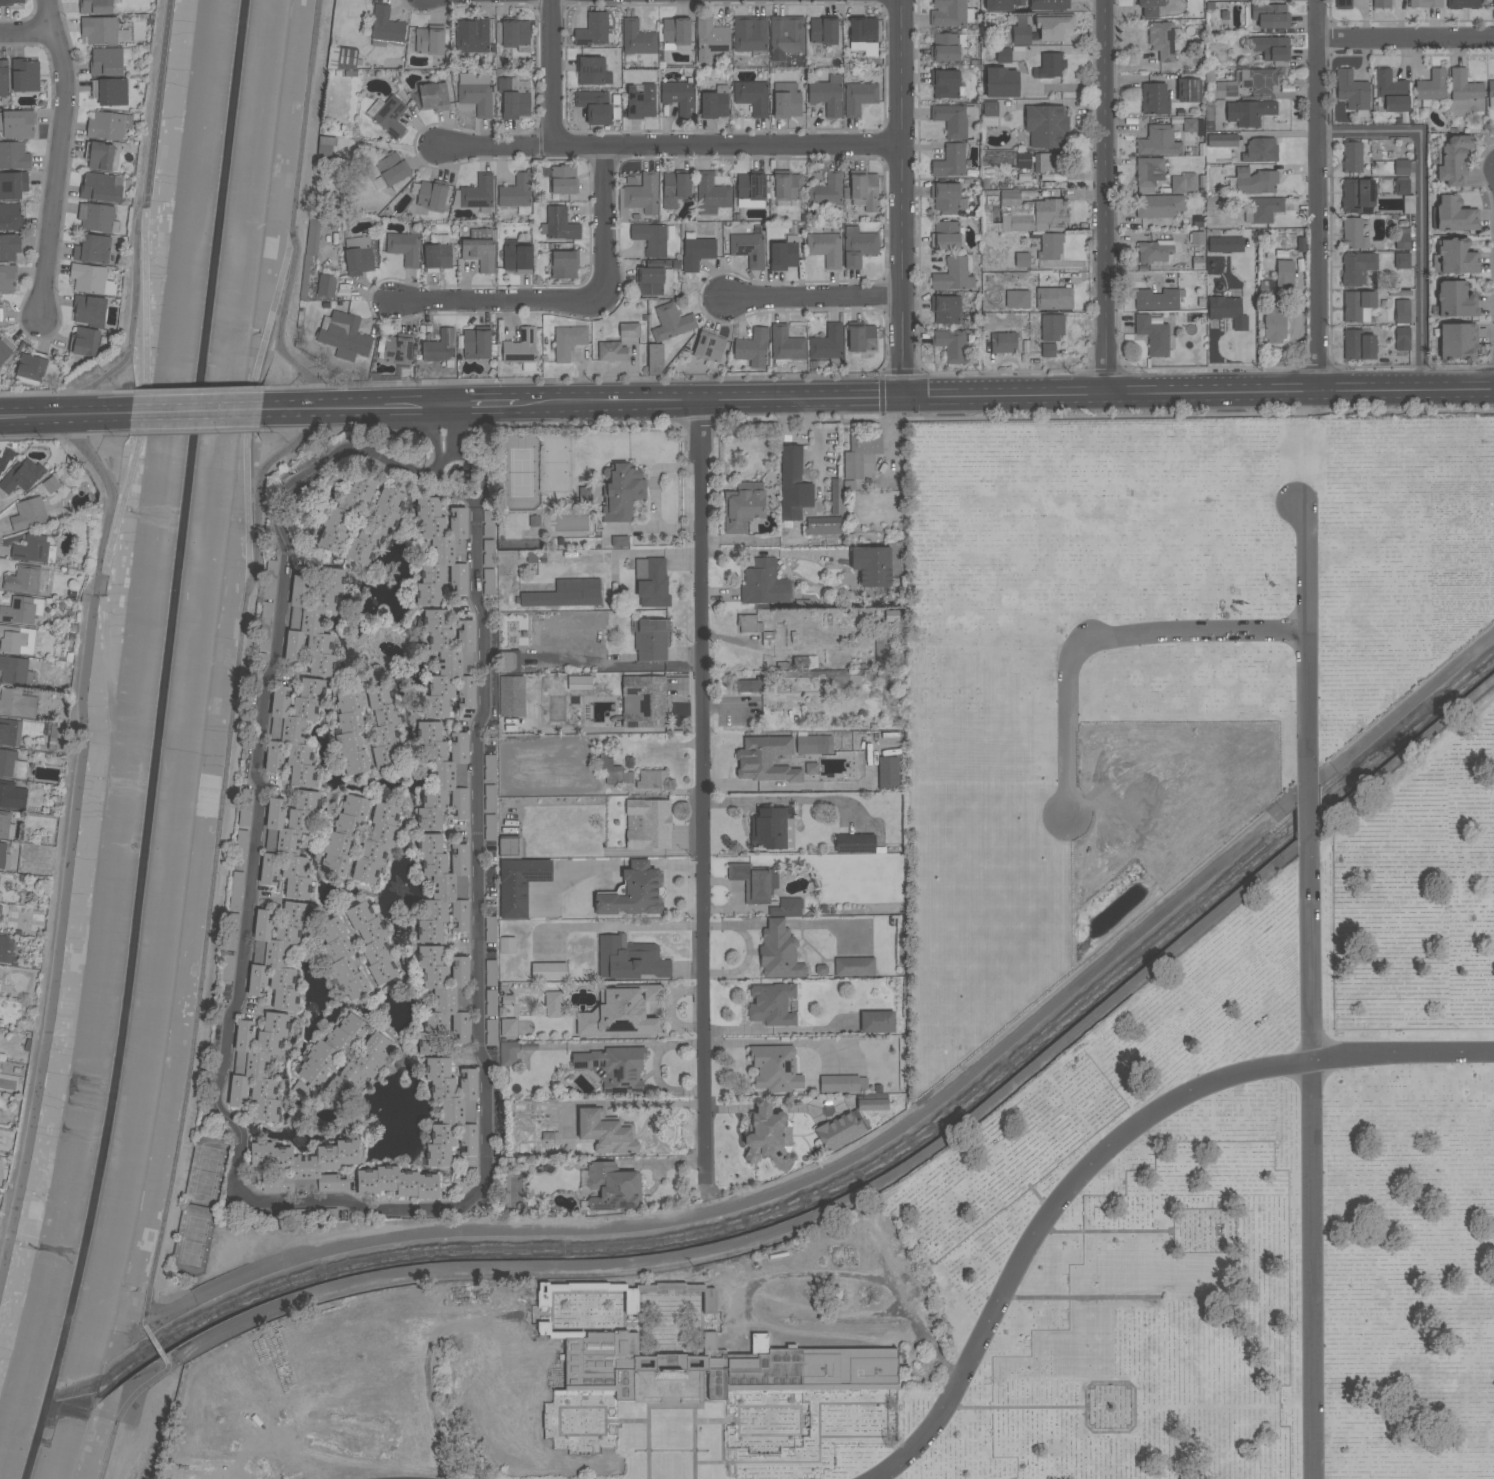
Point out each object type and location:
building: (9, 2)
building: (1425, 3)
building: (1493, 3)
building: (1342, 4)
building: (1381, 4)
building: (1462, 4)
building: (998, 5)
building: (1049, 5)
building: (96, 6)
building: (1149, 7)
building: (948, 13)
building: (1270, 16)
building: (386, 27)
building: (1053, 27)
road: (25, 29)
building: (102, 30)
building: (593, 30)
building: (676, 31)
building: (823, 31)
building: (513, 33)
building: (749, 34)
building: (472, 35)
building: (863, 35)
building: (1021, 35)
building: (786, 37)
building: (637, 38)
road: (1407, 38)
building: (710, 39)
building: (429, 40)
building: (1161, 41)
building: (944, 47)
building: (1271, 49)
building: (343, 60)
building: (109, 61)
building: (1049, 66)
building: (592, 71)
road: (555, 73)
building: (25, 75)
building: (4, 78)
building: (1259, 81)
building: (1002, 82)
building: (944, 84)
building: (1431, 87)
building: (1351, 90)
building: (110, 91)
building: (1189, 91)
building: (1391, 91)
building: (1464, 94)
building: (430, 95)
building: (827, 95)
building: (678, 96)
building: (476, 97)
building: (513, 97)
building: (752, 97)
building: (859, 98)
building: (1155, 98)
building: (786, 100)
building: (640, 101)
building: (715, 103)
building: (594, 106)
building: (1249, 112)
building: (388, 115)
building: (951, 120)
building: (17, 124)
building: (108, 125)
building: (1046, 126)
building: (1222, 140)
building: (1158, 142)
building: (325, 147)
road: (670, 147)
building: (1260, 150)
building: (99, 155)
building: (14, 156)
road: (60, 157)
building: (1351, 157)
building: (1454, 159)
building: (1021, 160)
building: (950, 161)
building: (1046, 162)
building: (1401, 167)
building: (392, 170)
building: (1149, 174)
building: (563, 179)
building: (1251, 182)
building: (1182, 183)
building: (13, 185)
building: (787, 185)
building: (1401, 186)
building: (102, 187)
building: (750, 187)
building: (675, 189)
building: (826, 191)
building: (516, 192)
building: (864, 192)
building: (431, 194)
building: (476, 194)
building: (643, 194)
building: (711, 194)
road: (1318, 194)
building: (1357, 196)
road: (1107, 197)
road: (902, 198)
building: (945, 198)
building: (1158, 206)
building: (1263, 210)
road: (1419, 210)
road: (291, 213)
building: (1021, 213)
building: (1453, 215)
road: (138, 216)
building: (10, 217)
building: (97, 217)
road: (603, 222)
building: (560, 224)
building: (1353, 234)
building: (945, 236)
building: (652, 238)
building: (1402, 239)
building: (1225, 245)
building: (9, 246)
building: (405, 246)
building: (858, 246)
building: (1050, 246)
building: (93, 249)
building: (748, 249)
building: (825, 249)
building: (310, 250)
building: (480, 250)
building: (1154, 251)
building: (697, 253)
building: (784, 254)
building: (437, 255)
building: (358, 256)
building: (516, 256)
building: (1456, 257)
building: (1401, 261)
building: (563, 265)
building: (1356, 268)
building: (1284, 274)
building: (953, 275)
building: (7, 278)
building: (92, 279)
building: (649, 281)
building: (327, 286)
road: (816, 297)
building: (1053, 298)
road: (499, 299)
building: (1156, 299)
building: (1020, 300)
building: (1455, 300)
building: (1357, 306)
building: (90, 309)
building: (945, 310)
building: (1227, 311)
building: (1402, 311)
building: (1, 313)
building: (670, 322)
building: (1274, 323)
building: (629, 330)
building: (1050, 334)
building: (1154, 335)
building: (344, 336)
building: (861, 338)
building: (1402, 339)
building: (1457, 340)
building: (84, 341)
building: (568, 341)
building: (827, 343)
building: (1003, 343)
building: (478, 344)
building: (785, 344)
building: (951, 345)
building: (1357, 345)
building: (440, 346)
building: (709, 347)
building: (752, 348)
building: (6, 349)
building: (396, 349)
building: (521, 349)
building: (612, 352)
building: (654, 359)
building: (31, 368)
road: (143, 392)
road: (1008, 394)
traffic signals: (906, 396)
road: (250, 403)
road: (491, 405)
road: (360, 408)
road: (195, 412)
road: (64, 414)
road: (449, 431)
road: (437, 433)
building: (860, 455)
building: (5, 457)
road: (477, 466)
road: (433, 469)
building: (22, 476)
building: (51, 484)
building: (790, 484)
building: (621, 492)
building: (835, 497)
building: (743, 506)
building: (346, 511)
building: (30, 513)
building: (534, 521)
building: (488, 523)
building: (823, 525)
building: (376, 526)
building: (619, 541)
building: (35, 549)
building: (442, 551)
building: (488, 552)
building: (872, 565)
building: (27, 580)
building: (270, 580)
building: (651, 582)
building: (763, 582)
building: (489, 583)
building: (565, 594)
building: (22, 610)
building: (267, 614)
building: (313, 620)
building: (748, 624)
road: (1101, 637)
building: (17, 639)
building: (264, 640)
building: (650, 640)
road: (1309, 648)
building: (509, 660)
building: (450, 663)
building: (15, 671)
building: (373, 676)
building: (579, 683)
building: (745, 686)
building: (511, 696)
building: (644, 701)
building: (17, 703)
road: (1402, 705)
building: (384, 726)
building: (294, 730)
building: (10, 732)
building: (350, 732)
building: (56, 737)
building: (814, 745)
building: (764, 760)
building: (11, 764)
building: (605, 765)
building: (489, 767)
building: (811, 768)
building: (888, 773)
building: (442, 775)
building: (651, 779)
road: (703, 794)
building: (12, 795)
building: (490, 797)
building: (245, 807)
road: (1313, 815)
building: (649, 824)
building: (6, 826)
building: (490, 827)
building: (768, 829)
building: (343, 835)
road: (71, 840)
building: (289, 843)
building: (376, 843)
building: (509, 847)
building: (240, 848)
road: (215, 855)
building: (4, 857)
building: (754, 882)
building: (520, 884)
building: (443, 887)
building: (236, 890)
building: (634, 893)
building: (2, 897)
building: (787, 907)
road: (633, 927)
building: (490, 930)
building: (231, 931)
building: (372, 942)
building: (507, 945)
building: (8, 951)
building: (779, 952)
building: (277, 954)
building: (342, 958)
building: (629, 959)
building: (854, 966)
building: (228, 967)
building: (548, 971)
building: (491, 973)
building: (444, 999)
building: (508, 999)
building: (490, 1002)
building: (553, 1004)
building: (772, 1004)
building: (501, 1012)
building: (620, 1013)
building: (876, 1022)
building: (507, 1027)
building: (491, 1031)
building: (330, 1049)
building: (508, 1053)
building: (258, 1065)
building: (613, 1066)
building: (775, 1068)
building: (359, 1069)
building: (843, 1083)
building: (302, 1090)
building: (872, 1105)
building: (452, 1112)
building: (841, 1131)
building: (606, 1133)
building: (767, 1133)
road: (1107, 1150)
road: (1314, 1157)
building: (304, 1167)
building: (397, 1182)
building: (612, 1186)
road: (270, 1202)
road: (873, 1280)
building: (630, 1301)
building: (706, 1303)
road: (154, 1341)
building: (726, 1367)
road: (671, 1406)
road: (791, 1406)
road: (121, 1411)
road: (723, 1457)

